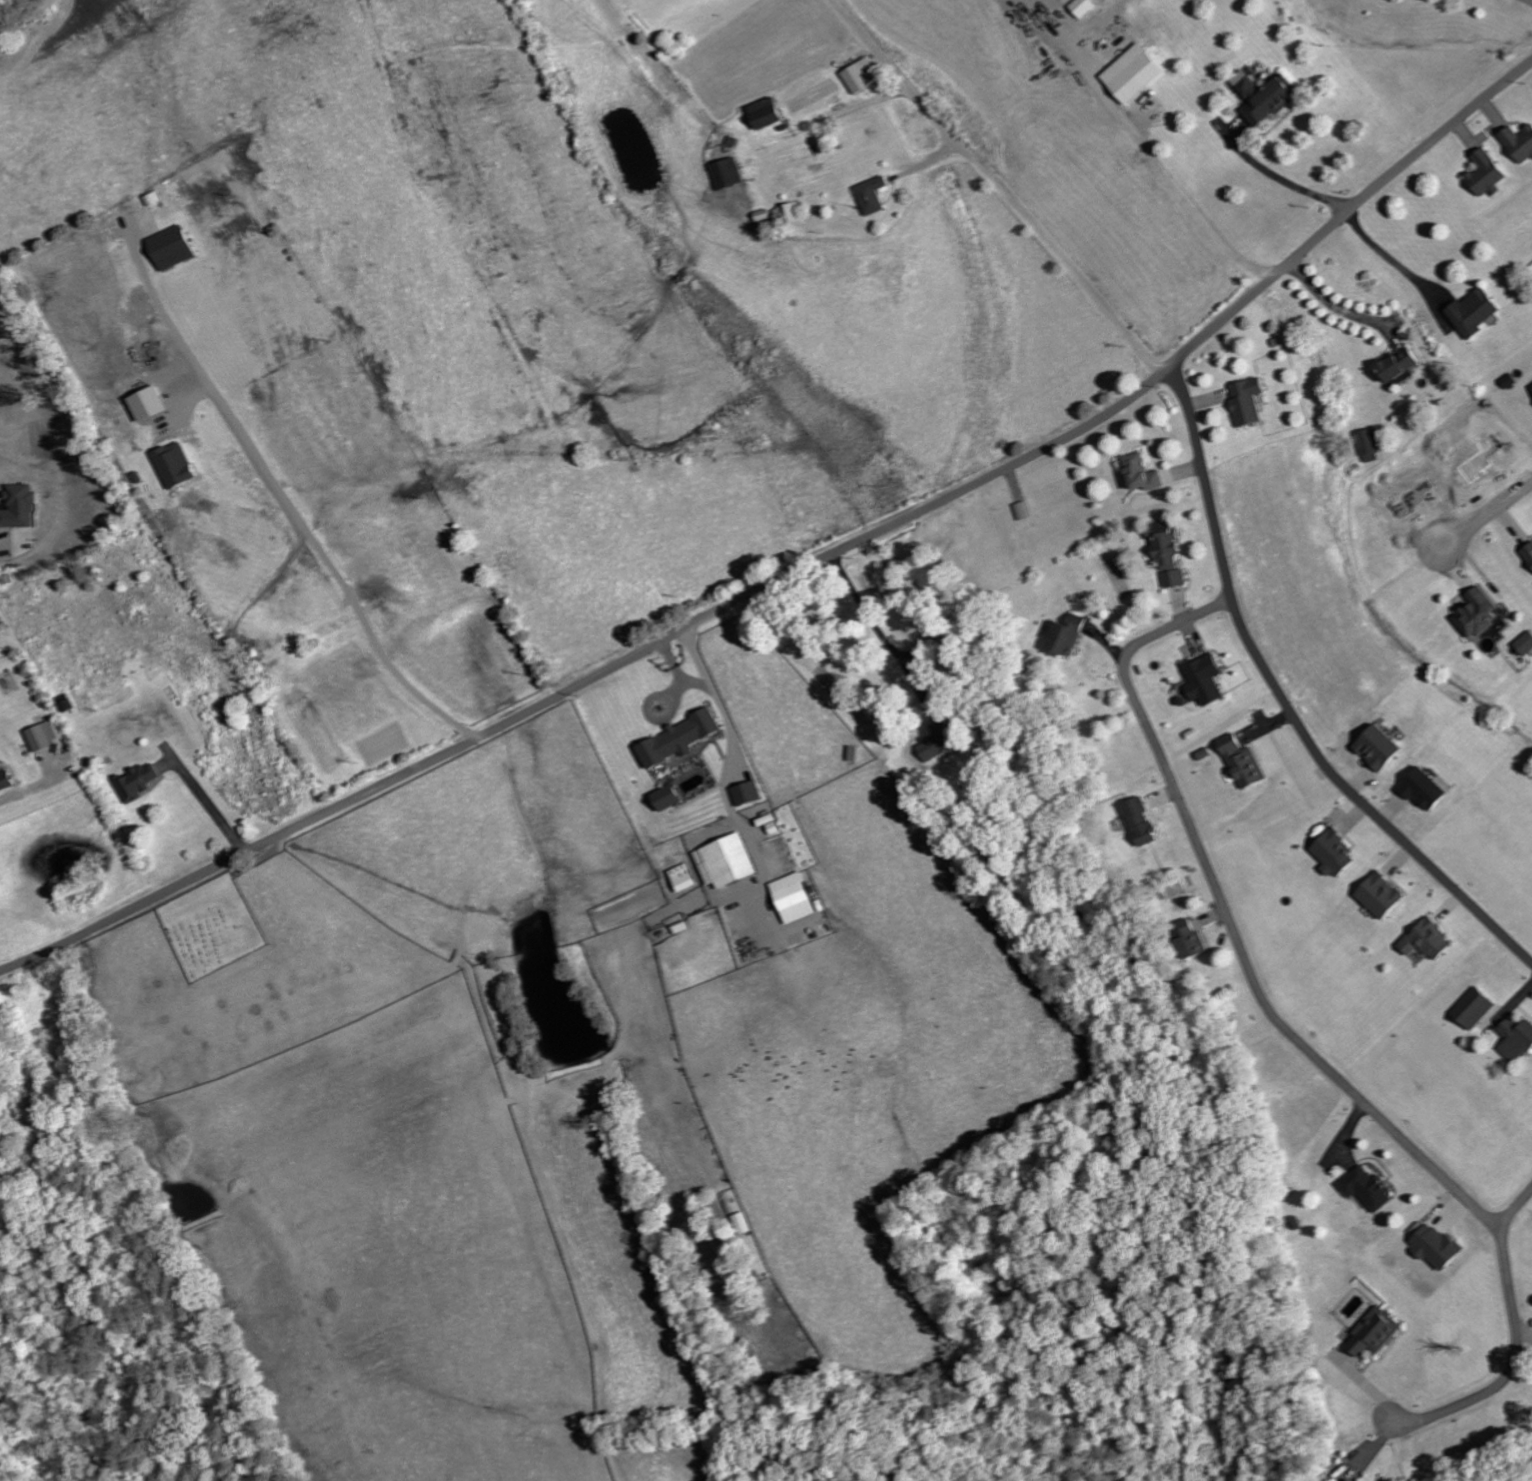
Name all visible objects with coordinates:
building: (1081, 8)
building: (1131, 74)
building: (858, 76)
building: (1262, 96)
building: (764, 114)
building: (1519, 143)
building: (728, 173)
building: (1487, 174)
building: (871, 196)
building: (786, 214)
building: (172, 248)
building: (1473, 313)
building: (1396, 366)
building: (1531, 387)
building: (1247, 401)
building: (147, 404)
building: (1368, 445)
building: (175, 466)
building: (1140, 474)
building: (17, 507)
building: (1023, 511)
road: (1488, 516)
building: (1167, 554)
building: (1527, 555)
road: (800, 571)
building: (1476, 614)
road: (884, 632)
building: (1064, 636)
building: (1524, 644)
building: (1202, 680)
road: (1285, 703)
building: (42, 736)
building: (677, 739)
building: (1378, 748)
building: (1241, 762)
building: (5, 781)
building: (134, 783)
building: (1423, 789)
building: (745, 794)
building: (664, 799)
building: (1140, 822)
building: (1334, 854)
building: (724, 862)
building: (681, 878)
building: (1380, 896)
building: (790, 899)
building: (1192, 939)
building: (1427, 941)
building: (1474, 1010)
road: (1301, 1040)
building: (1516, 1040)
building: (1367, 1188)
road: (1514, 1209)
building: (742, 1223)
building: (1434, 1246)
building: (1374, 1333)

